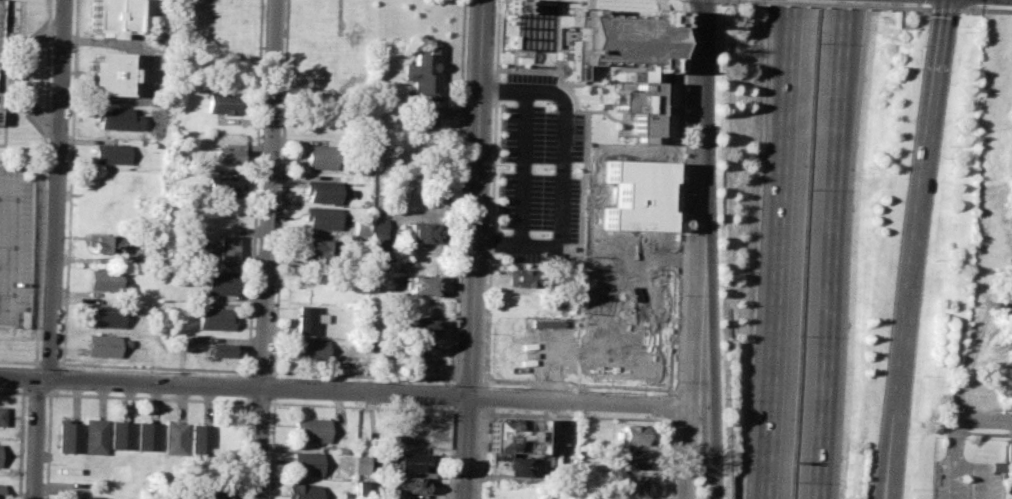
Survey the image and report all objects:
road: (732, 0)
street lamp: (497, 1)
street lamp: (893, 3)
road: (825, 5)
building: (511, 6)
street lamp: (977, 6)
road: (915, 8)
road: (946, 9)
road: (987, 9)
building: (111, 17)
road: (740, 17)
building: (0, 24)
road: (909, 25)
street lamp: (965, 31)
road: (557, 35)
building: (623, 40)
street lamp: (722, 49)
street lamp: (494, 71)
building: (109, 74)
building: (426, 75)
road: (16, 76)
road: (26, 77)
building: (0, 92)
building: (223, 102)
street lamp: (545, 103)
building: (638, 108)
building: (117, 118)
road: (586, 121)
street lamp: (950, 146)
building: (111, 154)
building: (228, 155)
building: (319, 157)
street lamp: (490, 164)
street lamp: (721, 164)
road: (523, 167)
street lamp: (542, 169)
road: (561, 169)
road: (44, 181)
road: (71, 182)
building: (224, 187)
road: (255, 188)
road: (282, 188)
road: (59, 190)
building: (321, 191)
road: (458, 192)
road: (491, 193)
road: (270, 194)
building: (636, 194)
street lamp: (681, 194)
building: (320, 219)
building: (360, 226)
building: (378, 233)
building: (422, 233)
street lamp: (539, 234)
parking lot: (14, 242)
building: (104, 244)
road: (10, 245)
road: (622, 247)
road: (916, 248)
building: (226, 249)
building: (317, 249)
road: (473, 249)
road: (698, 249)
road: (780, 249)
road: (833, 249)
street lamp: (936, 259)
street lamp: (487, 264)
road: (587, 274)
building: (522, 278)
building: (105, 279)
street lamp: (722, 280)
building: (219, 283)
building: (421, 284)
road: (674, 289)
street lamp: (677, 295)
building: (105, 316)
building: (214, 319)
building: (307, 320)
building: (419, 328)
street lamp: (484, 334)
building: (102, 345)
building: (311, 349)
building: (220, 350)
road: (21, 362)
road: (50, 363)
road: (37, 366)
road: (62, 366)
road: (156, 367)
building: (353, 368)
road: (262, 372)
road: (363, 375)
street lamp: (923, 376)
road: (19, 378)
road: (30, 378)
road: (45, 379)
road: (56, 379)
road: (468, 379)
street lamp: (674, 381)
street lamp: (448, 385)
road: (249, 387)
road: (274, 387)
street lamp: (490, 387)
road: (704, 389)
road: (13, 392)
road: (37, 393)
road: (369, 393)
road: (451, 394)
road: (150, 397)
road: (484, 397)
street lamp: (726, 399)
road: (261, 403)
road: (362, 406)
road: (466, 410)
building: (2, 416)
road: (612, 418)
street lamp: (480, 419)
road: (977, 421)
street lamp: (671, 427)
building: (311, 430)
building: (121, 434)
building: (512, 434)
building: (630, 435)
building: (67, 436)
building: (95, 436)
building: (147, 437)
building: (174, 438)
road: (955, 438)
road: (37, 439)
building: (200, 439)
road: (21, 442)
road: (48, 444)
road: (260, 444)
road: (246, 448)
road: (272, 448)
road: (450, 451)
building: (1009, 452)
road: (481, 453)
building: (629, 459)
building: (406, 461)
building: (305, 463)
building: (360, 463)
building: (505, 463)
road: (977, 469)
road: (951, 477)
parking lot: (964, 479)
building: (408, 484)
building: (630, 484)
street lamp: (476, 488)
street lamp: (914, 489)
building: (1, 490)
building: (302, 491)
building: (214, 494)
building: (89, 497)

